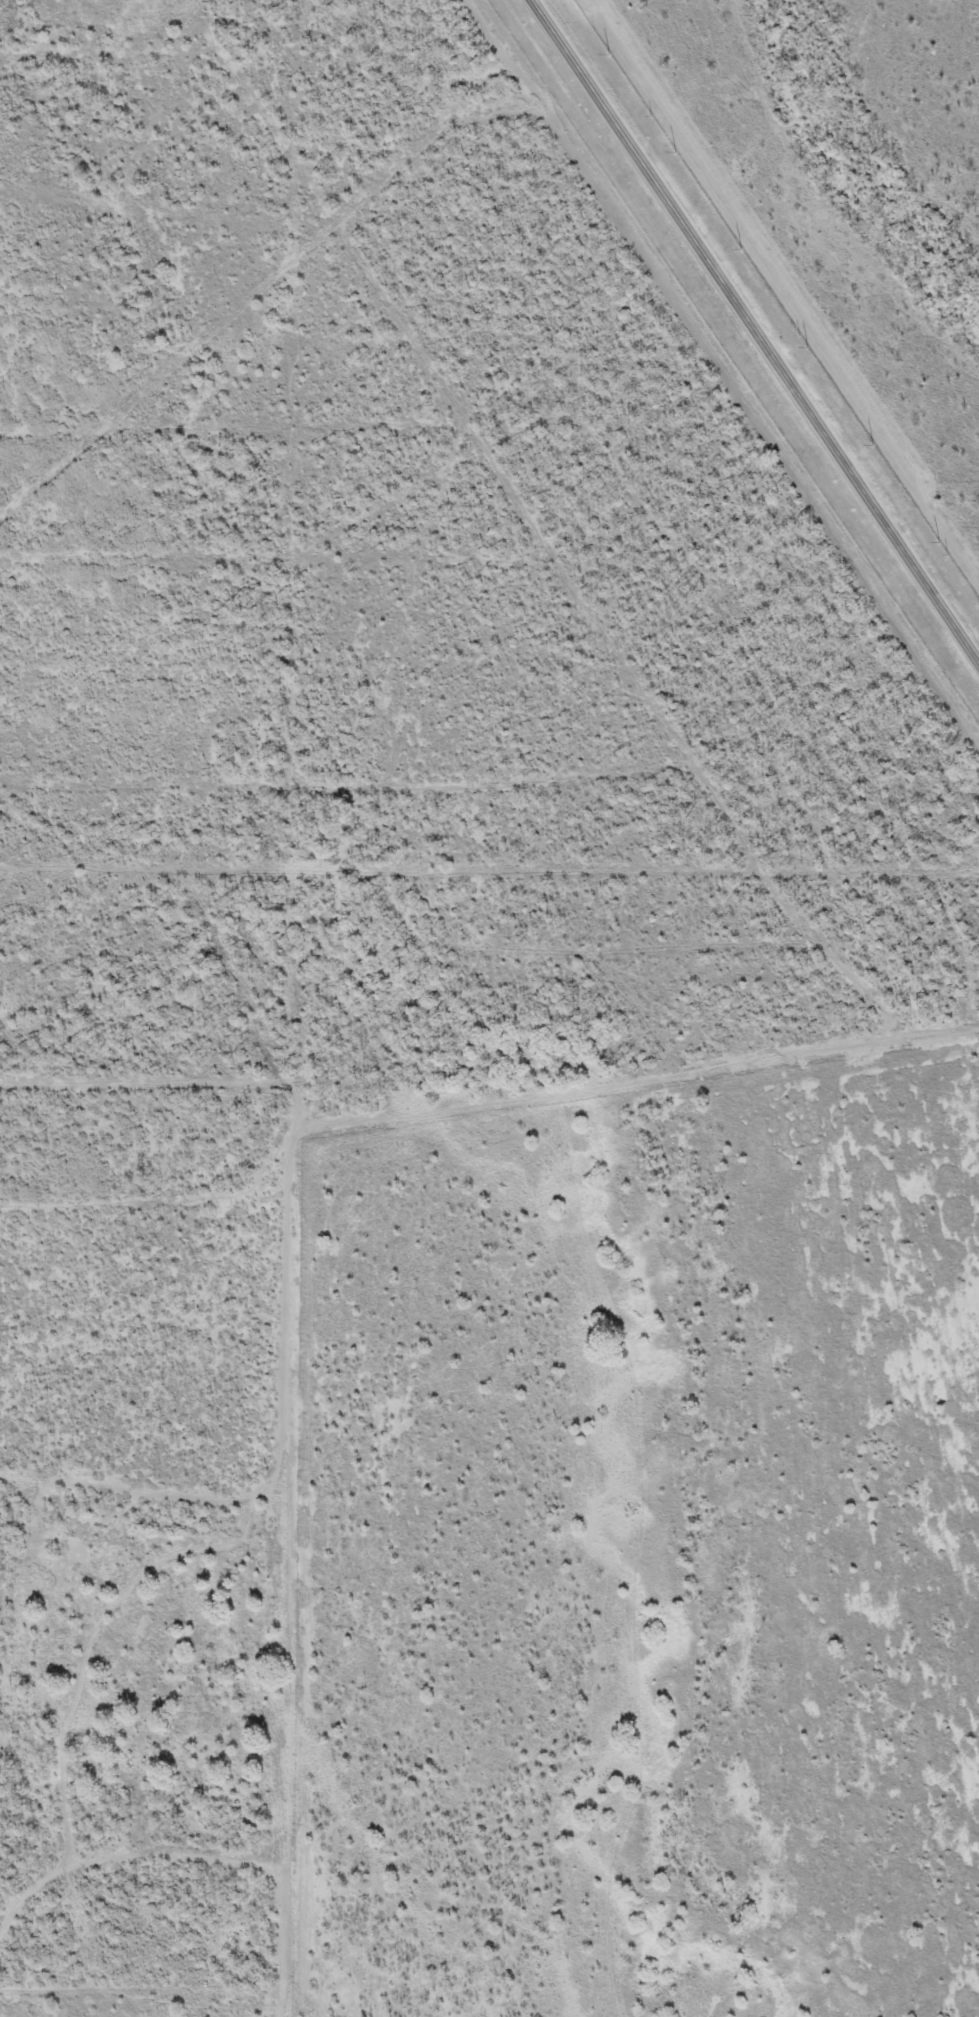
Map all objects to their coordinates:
road: (755, 330)
building: (26, 1580)

